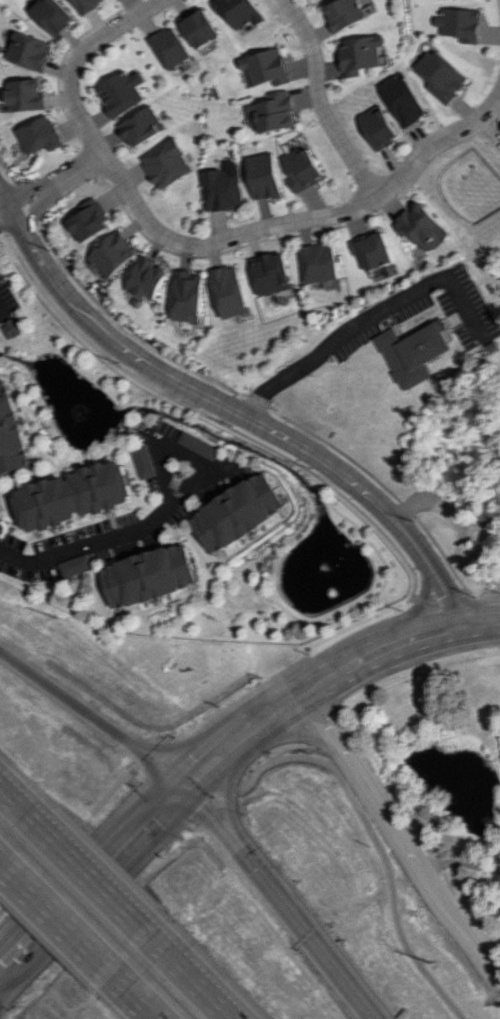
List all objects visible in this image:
building: (88, 5)
building: (238, 11)
building: (344, 13)
building: (54, 15)
building: (459, 23)
building: (199, 27)
building: (169, 47)
building: (29, 50)
building: (360, 53)
road: (74, 59)
building: (265, 67)
building: (442, 75)
building: (121, 91)
building: (24, 94)
building: (405, 99)
road: (317, 100)
building: (271, 112)
building: (140, 126)
building: (379, 128)
building: (38, 134)
building: (165, 163)
building: (302, 168)
building: (263, 175)
road: (55, 179)
building: (222, 187)
road: (4, 208)
building: (88, 220)
road: (302, 220)
building: (421, 226)
building: (373, 250)
building: (113, 253)
building: (319, 262)
building: (272, 273)
building: (147, 278)
building: (230, 291)
building: (188, 296)
road: (363, 318)
building: (12, 327)
building: (416, 352)
road: (230, 408)
building: (11, 432)
building: (199, 445)
road: (187, 458)
building: (144, 462)
building: (75, 495)
road: (444, 510)
building: (240, 512)
road: (85, 546)
building: (75, 564)
building: (149, 576)
power tower: (68, 624)
road: (326, 677)
road: (91, 720)
road: (259, 769)
traffic signals: (181, 789)
road: (18, 808)
road: (402, 836)
road: (127, 841)
road: (1, 859)
road: (461, 862)
road: (86, 876)
road: (278, 902)
road: (53, 910)
road: (36, 929)
power tower: (441, 966)
road: (184, 972)
road: (133, 989)

